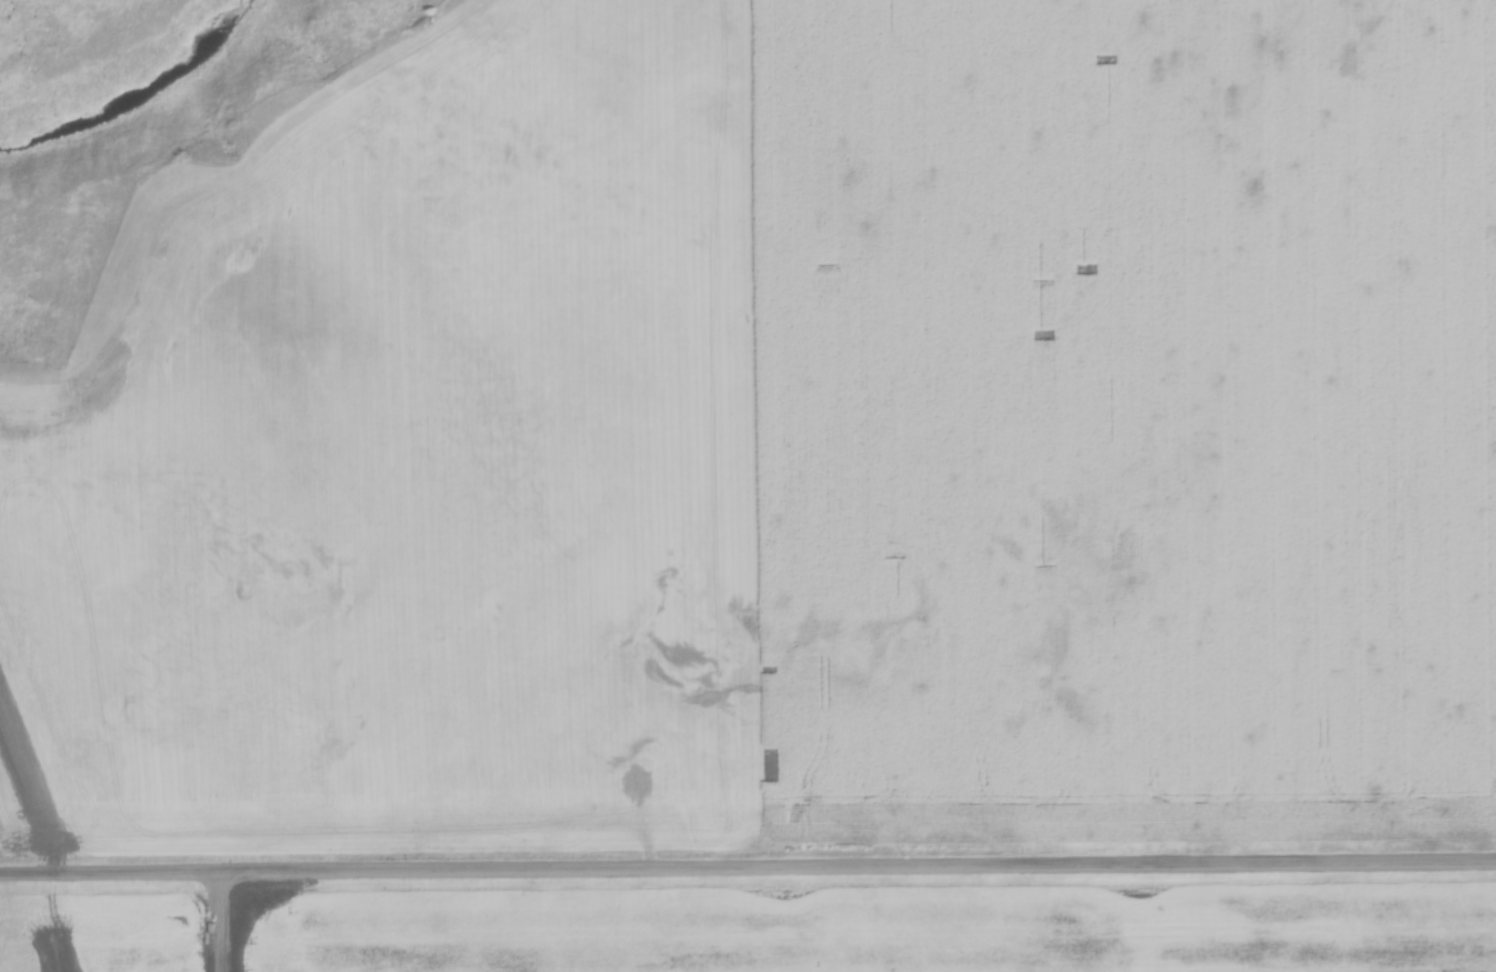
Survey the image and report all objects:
road: (748, 873)

